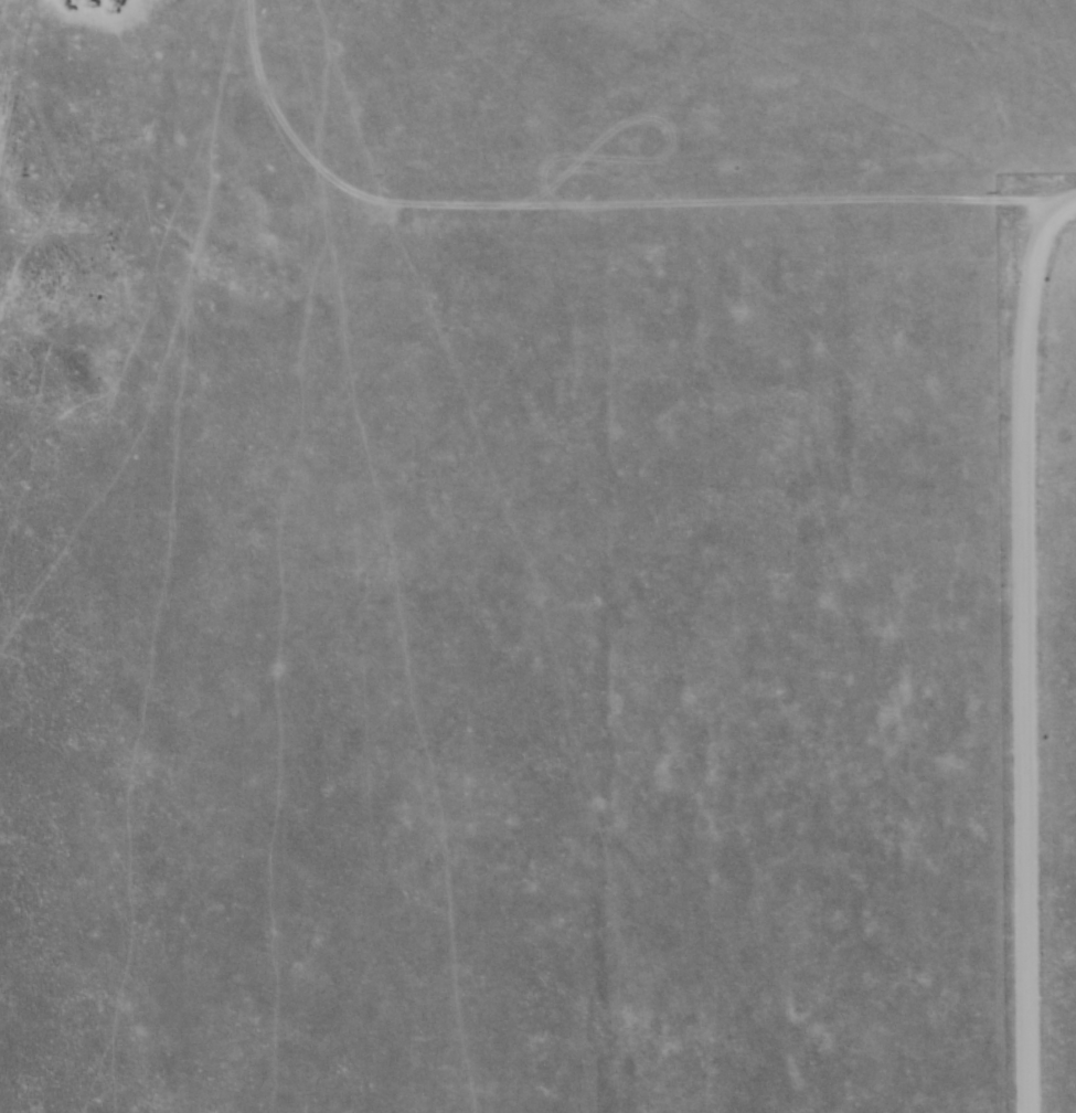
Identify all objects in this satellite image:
road: (1059, 205)
road: (1022, 664)

